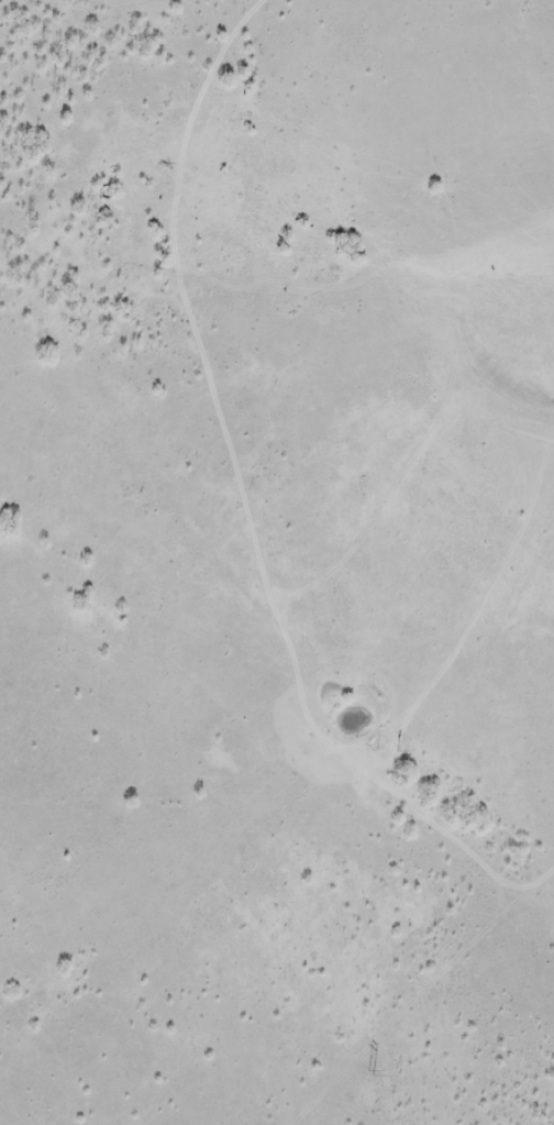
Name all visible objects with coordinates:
road: (492, 851)
power tower: (370, 1074)

